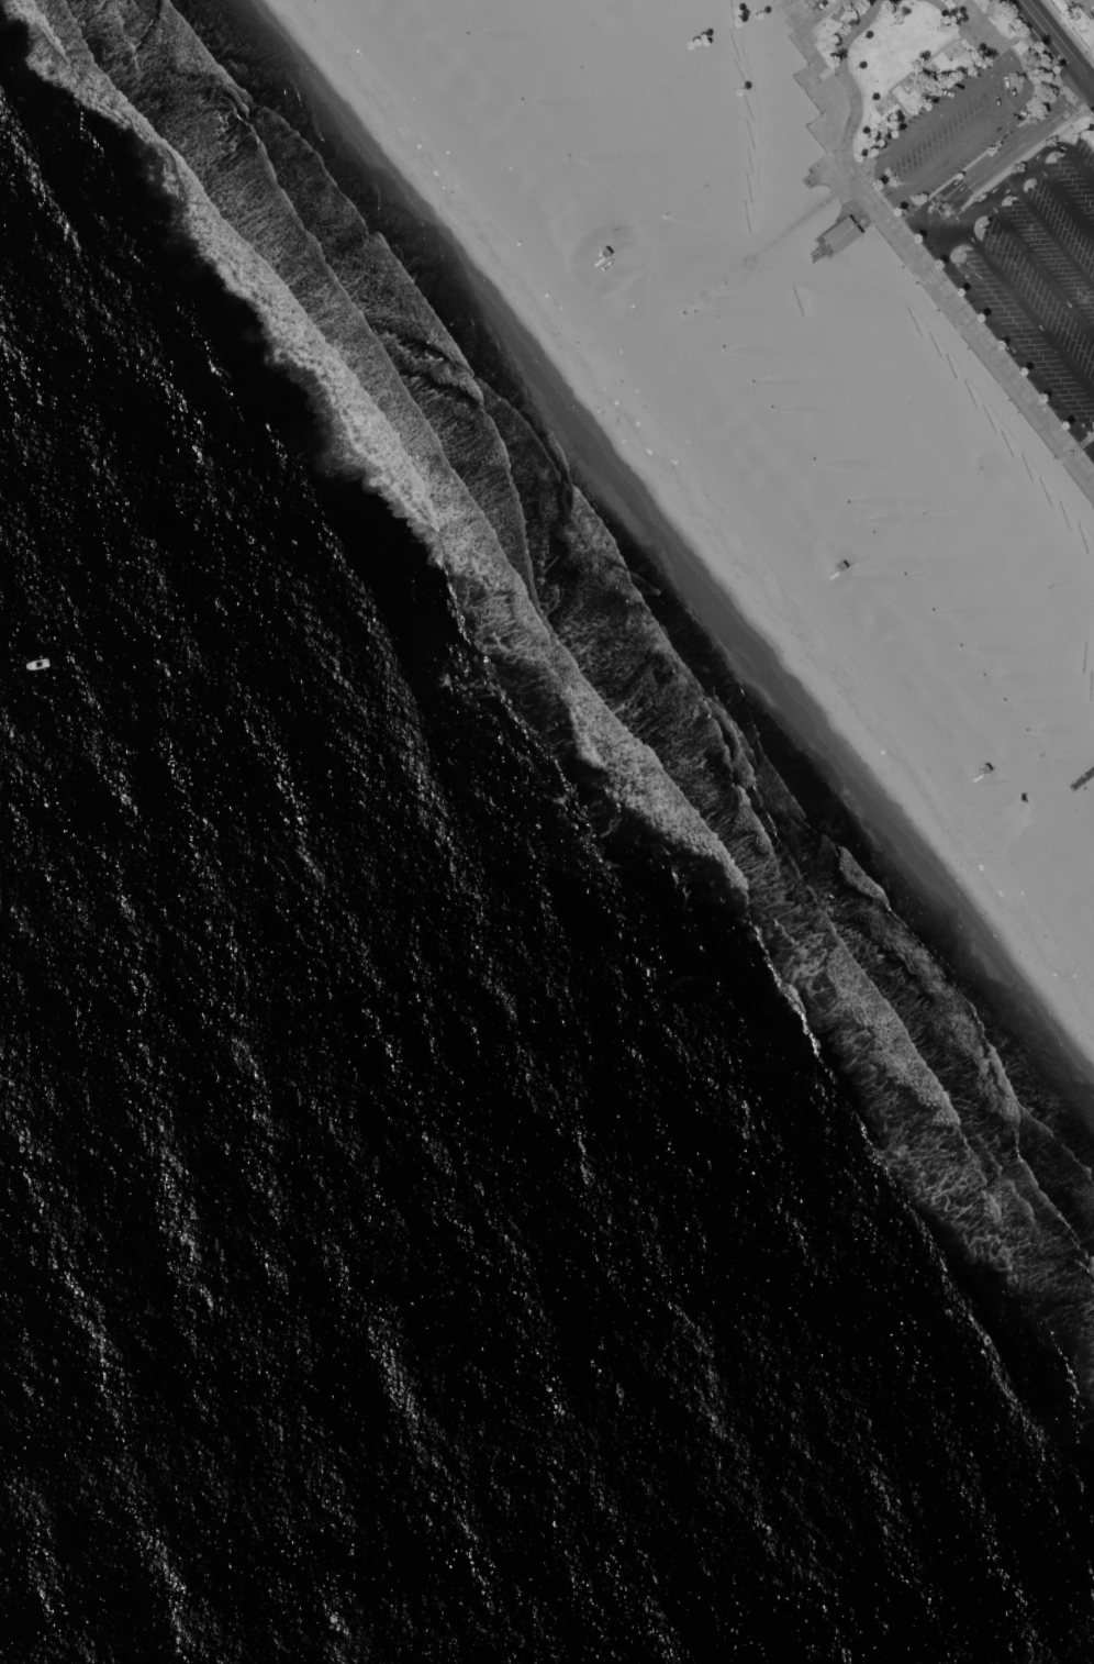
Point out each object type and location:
building: (812, 3)
building: (1082, 7)
park: (615, 16)
road: (985, 31)
road: (1069, 31)
road: (1058, 45)
park: (1093, 56)
park: (906, 58)
park: (1035, 64)
road: (891, 84)
road: (1081, 92)
road: (1072, 99)
road: (1045, 114)
road: (1011, 123)
road: (1022, 136)
road: (902, 141)
road: (1027, 142)
road: (1022, 149)
road: (1025, 155)
road: (1028, 166)
road: (970, 171)
road: (974, 179)
road: (1064, 199)
road: (958, 209)
road: (929, 224)
parking lot: (1007, 231)
building: (839, 232)
road: (1052, 234)
road: (767, 243)
road: (915, 249)
building: (602, 253)
road: (909, 263)
road: (1040, 269)
road: (1027, 308)
road: (1003, 337)
road: (1093, 434)
road: (1072, 450)
building: (844, 577)
building: (984, 767)
road: (1083, 776)

